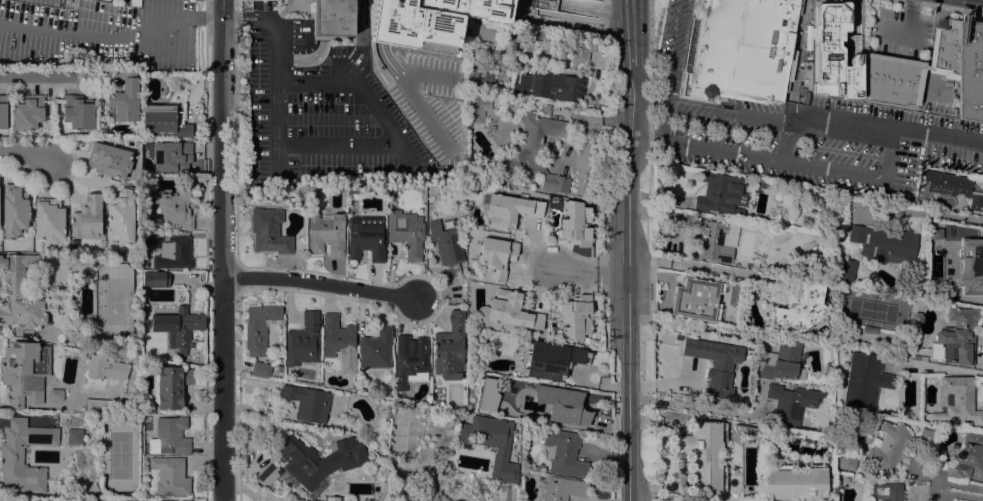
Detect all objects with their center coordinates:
building: (598, 0)
building: (539, 1)
building: (551, 4)
road: (206, 7)
road: (938, 7)
road: (519, 11)
building: (332, 17)
building: (431, 21)
road: (908, 28)
building: (481, 31)
road: (633, 32)
road: (112, 35)
road: (360, 37)
building: (739, 49)
building: (581, 52)
building: (834, 53)
road: (650, 70)
building: (970, 70)
road: (279, 73)
road: (34, 76)
building: (477, 80)
building: (168, 81)
road: (317, 82)
building: (550, 86)
building: (124, 98)
building: (544, 107)
building: (478, 108)
building: (555, 108)
road: (712, 109)
road: (377, 111)
building: (3, 112)
building: (28, 112)
building: (77, 113)
road: (863, 121)
building: (164, 122)
road: (585, 130)
road: (235, 138)
building: (146, 144)
road: (336, 150)
building: (536, 151)
road: (26, 152)
building: (172, 156)
building: (109, 160)
road: (784, 163)
building: (144, 181)
building: (761, 183)
building: (954, 187)
building: (354, 188)
building: (315, 189)
building: (720, 193)
building: (174, 207)
building: (509, 209)
building: (14, 211)
building: (121, 215)
building: (87, 217)
building: (49, 219)
building: (575, 223)
building: (447, 224)
building: (269, 231)
building: (326, 233)
building: (406, 233)
building: (365, 238)
building: (715, 242)
building: (884, 244)
building: (446, 246)
road: (222, 250)
building: (174, 254)
building: (497, 256)
building: (964, 259)
road: (589, 270)
building: (847, 270)
building: (155, 279)
road: (629, 282)
road: (319, 284)
building: (19, 293)
building: (697, 299)
building: (800, 309)
building: (509, 311)
building: (575, 317)
building: (177, 327)
building: (259, 328)
building: (869, 329)
building: (957, 337)
building: (303, 340)
building: (339, 342)
building: (450, 348)
building: (375, 349)
building: (935, 352)
building: (552, 360)
building: (410, 361)
building: (781, 362)
building: (106, 367)
building: (719, 367)
building: (260, 369)
road: (940, 369)
building: (24, 372)
building: (864, 381)
building: (171, 385)
building: (488, 393)
building: (55, 394)
building: (959, 401)
building: (307, 402)
building: (561, 404)
building: (790, 404)
building: (103, 406)
road: (705, 408)
building: (280, 430)
building: (749, 431)
building: (74, 436)
building: (170, 436)
building: (492, 443)
building: (888, 447)
building: (564, 453)
building: (11, 455)
building: (704, 455)
building: (845, 459)
building: (967, 460)
building: (312, 461)
building: (170, 476)
road: (931, 480)
building: (795, 483)
building: (561, 489)
building: (886, 492)
building: (406, 500)

